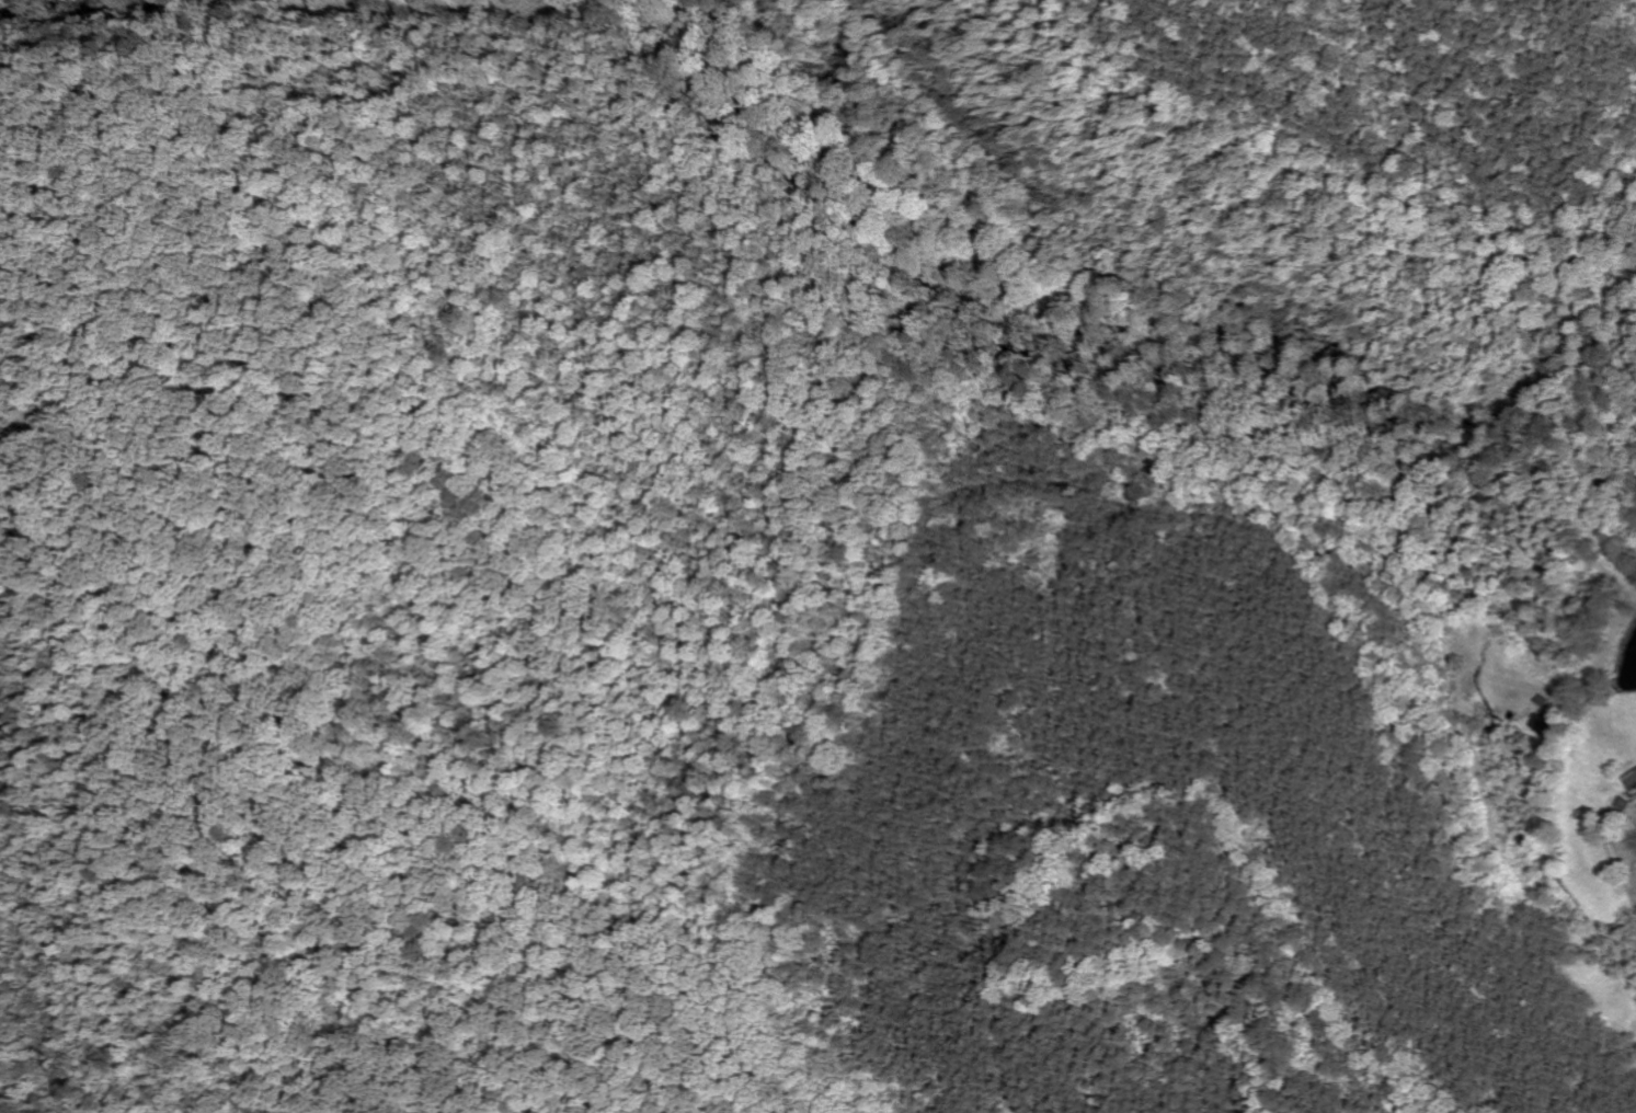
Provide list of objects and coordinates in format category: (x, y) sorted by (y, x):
park: (41, 608)
building: (1632, 782)

